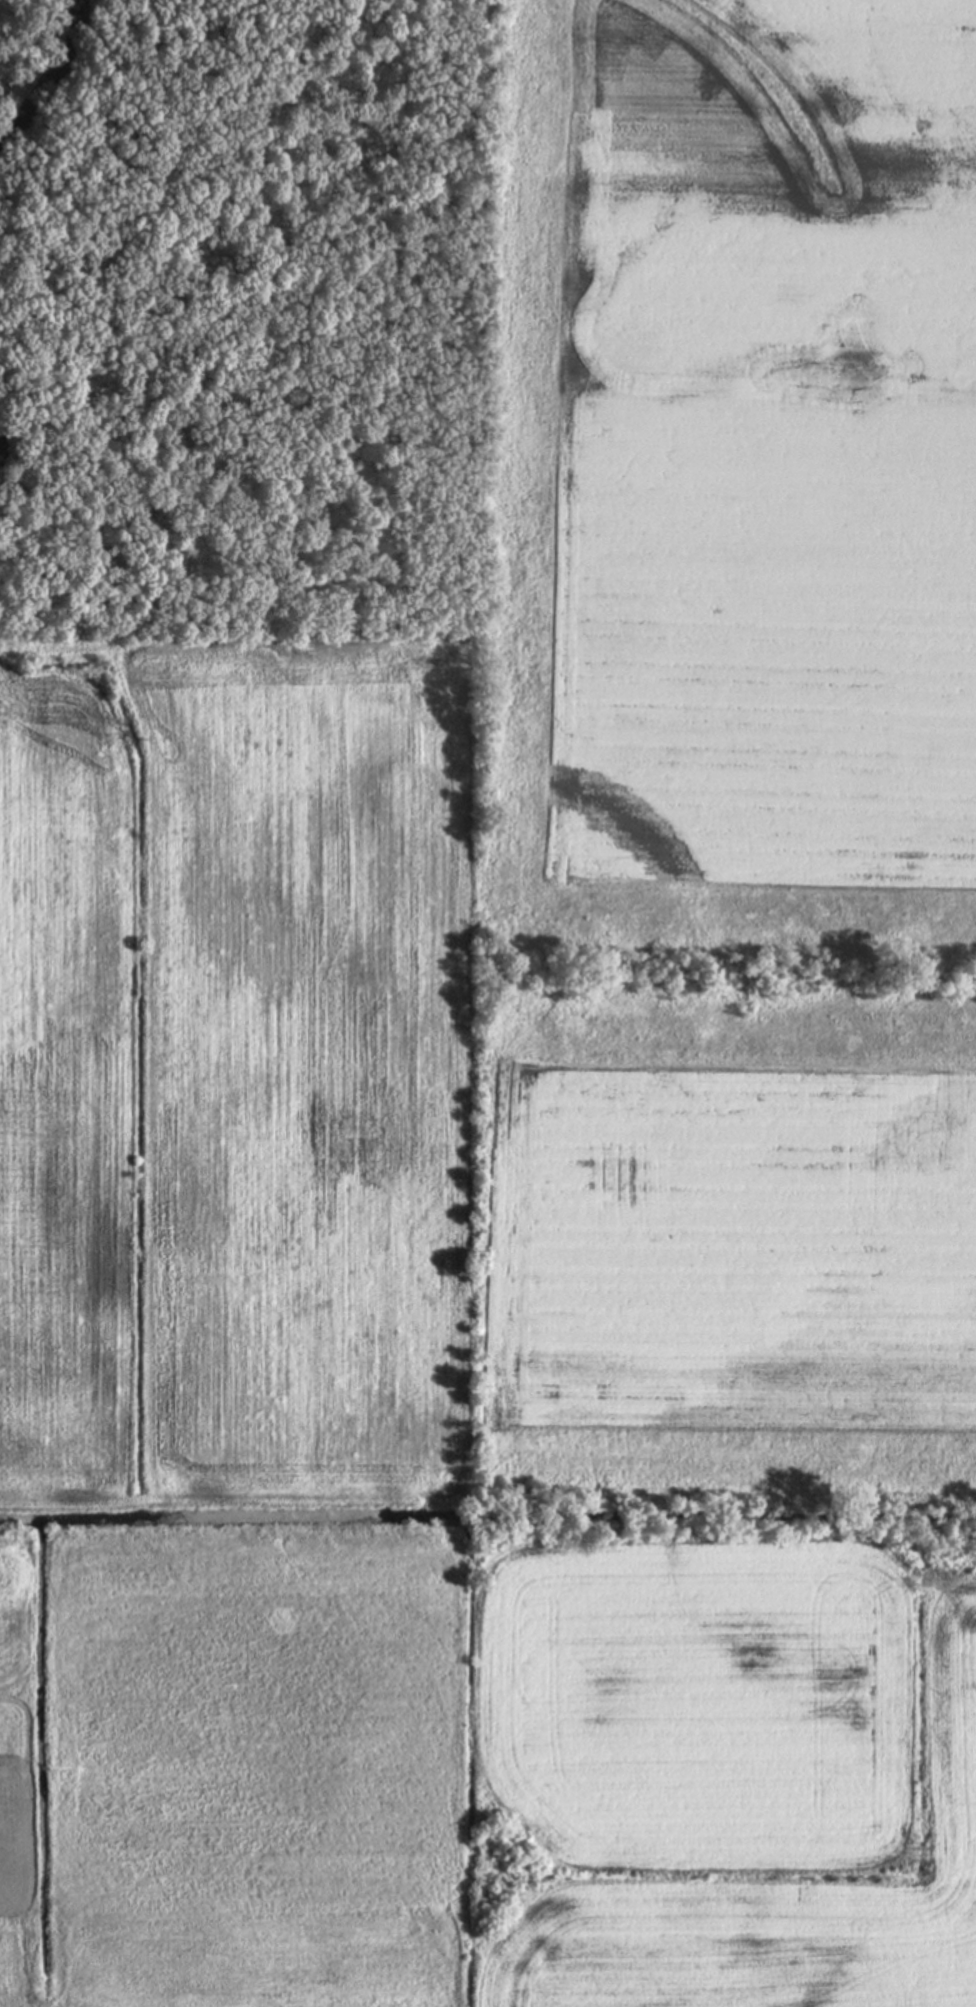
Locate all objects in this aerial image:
river: (45, 68)

